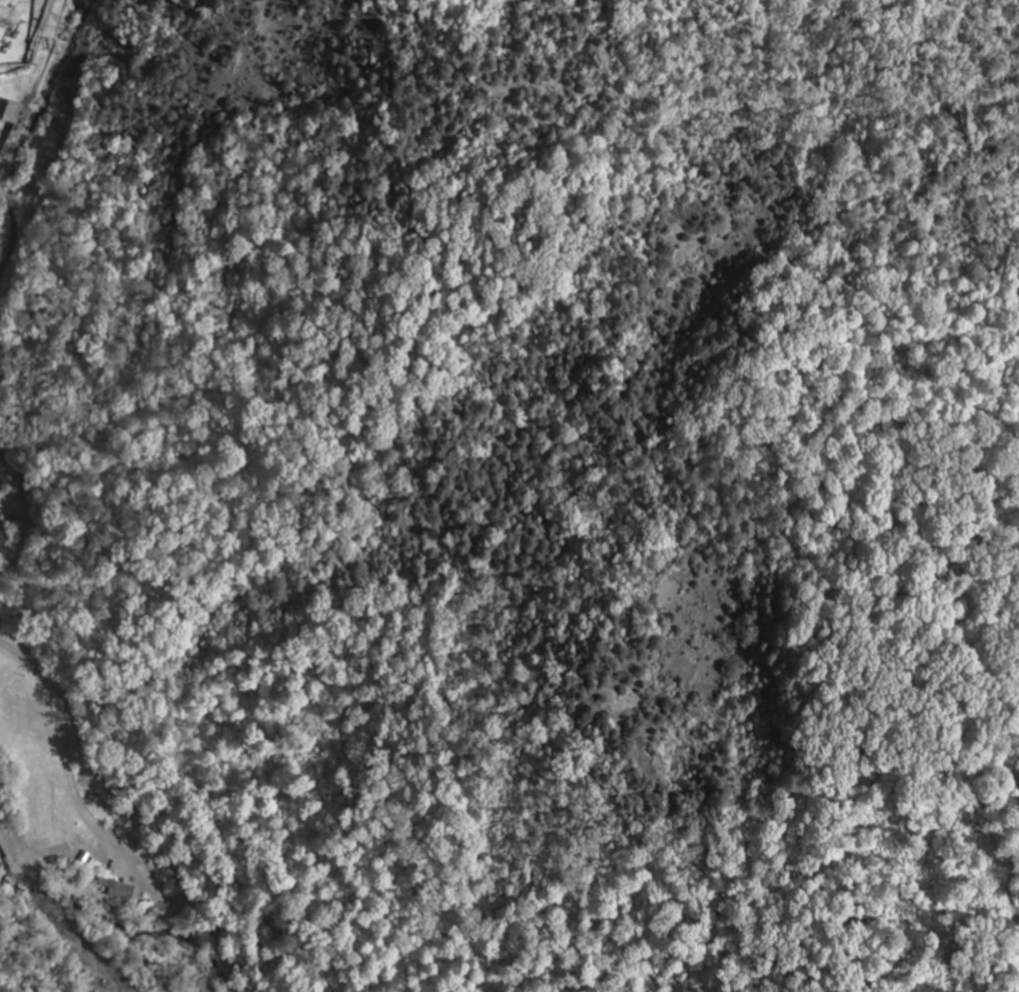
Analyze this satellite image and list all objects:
building: (2, 543)
road: (132, 809)
building: (115, 890)

